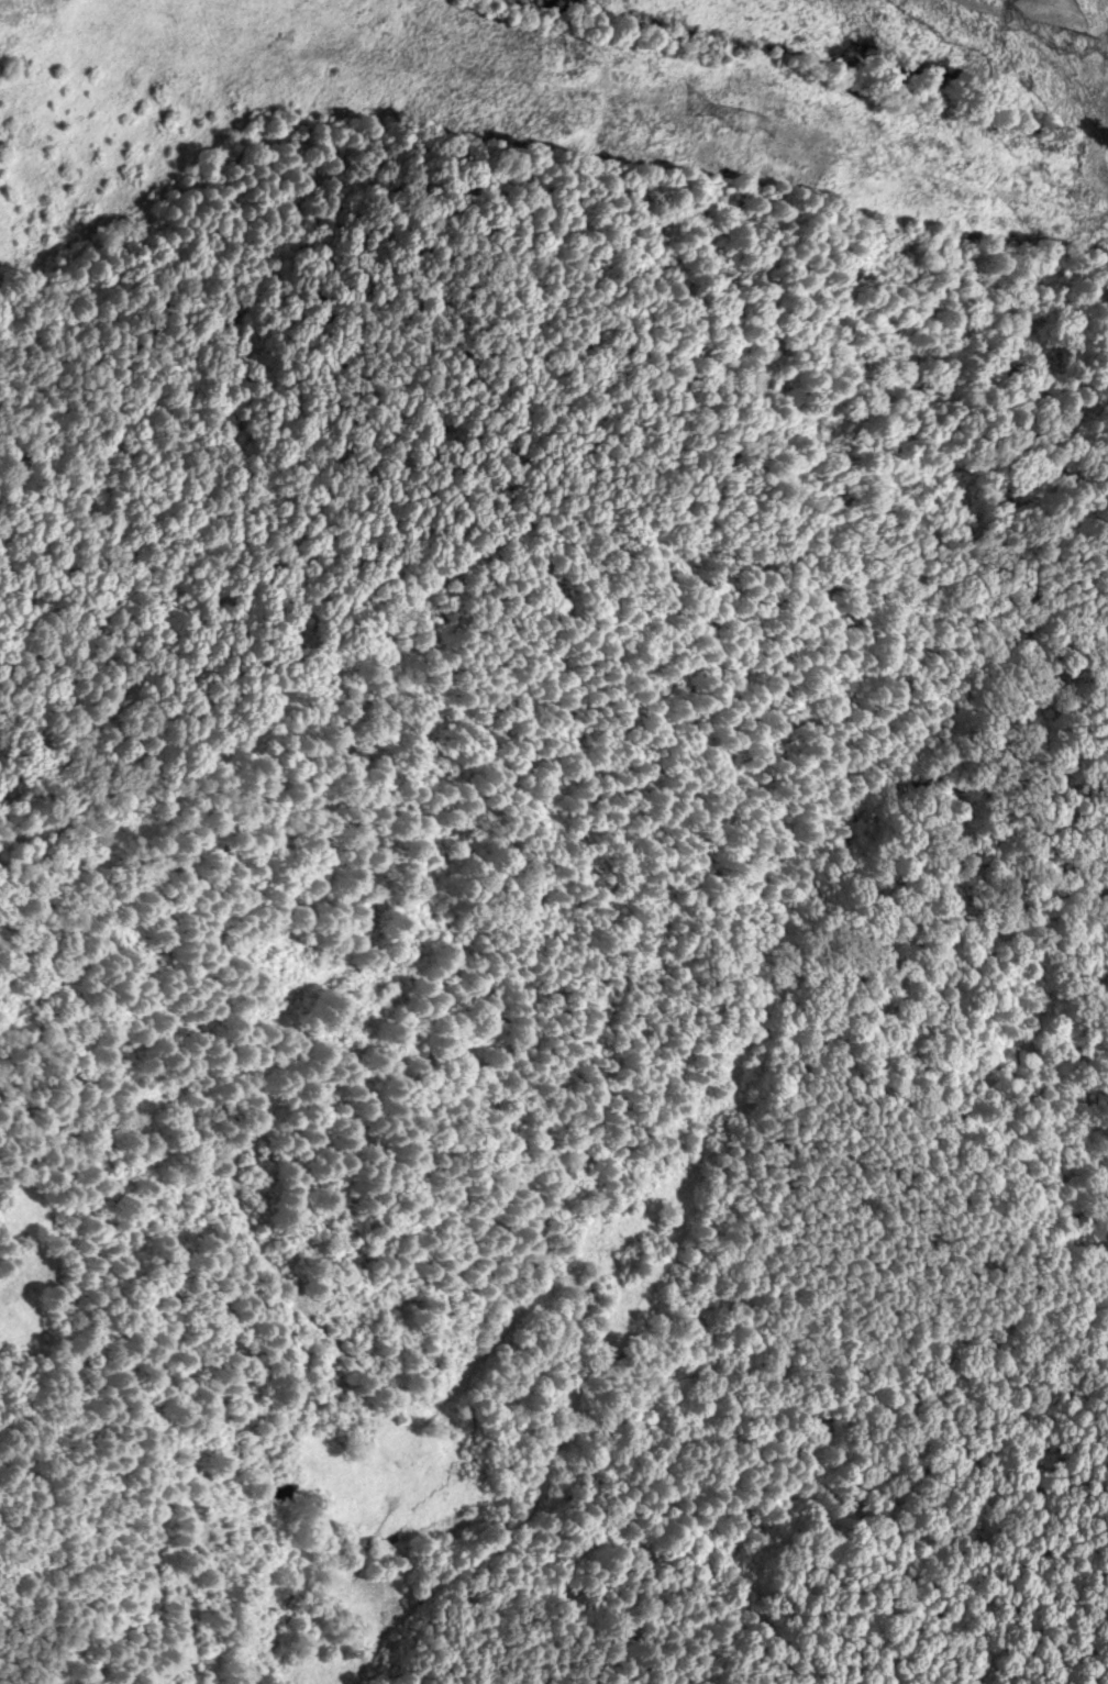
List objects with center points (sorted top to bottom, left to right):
power tower: (1071, 43)
power tower: (749, 125)

